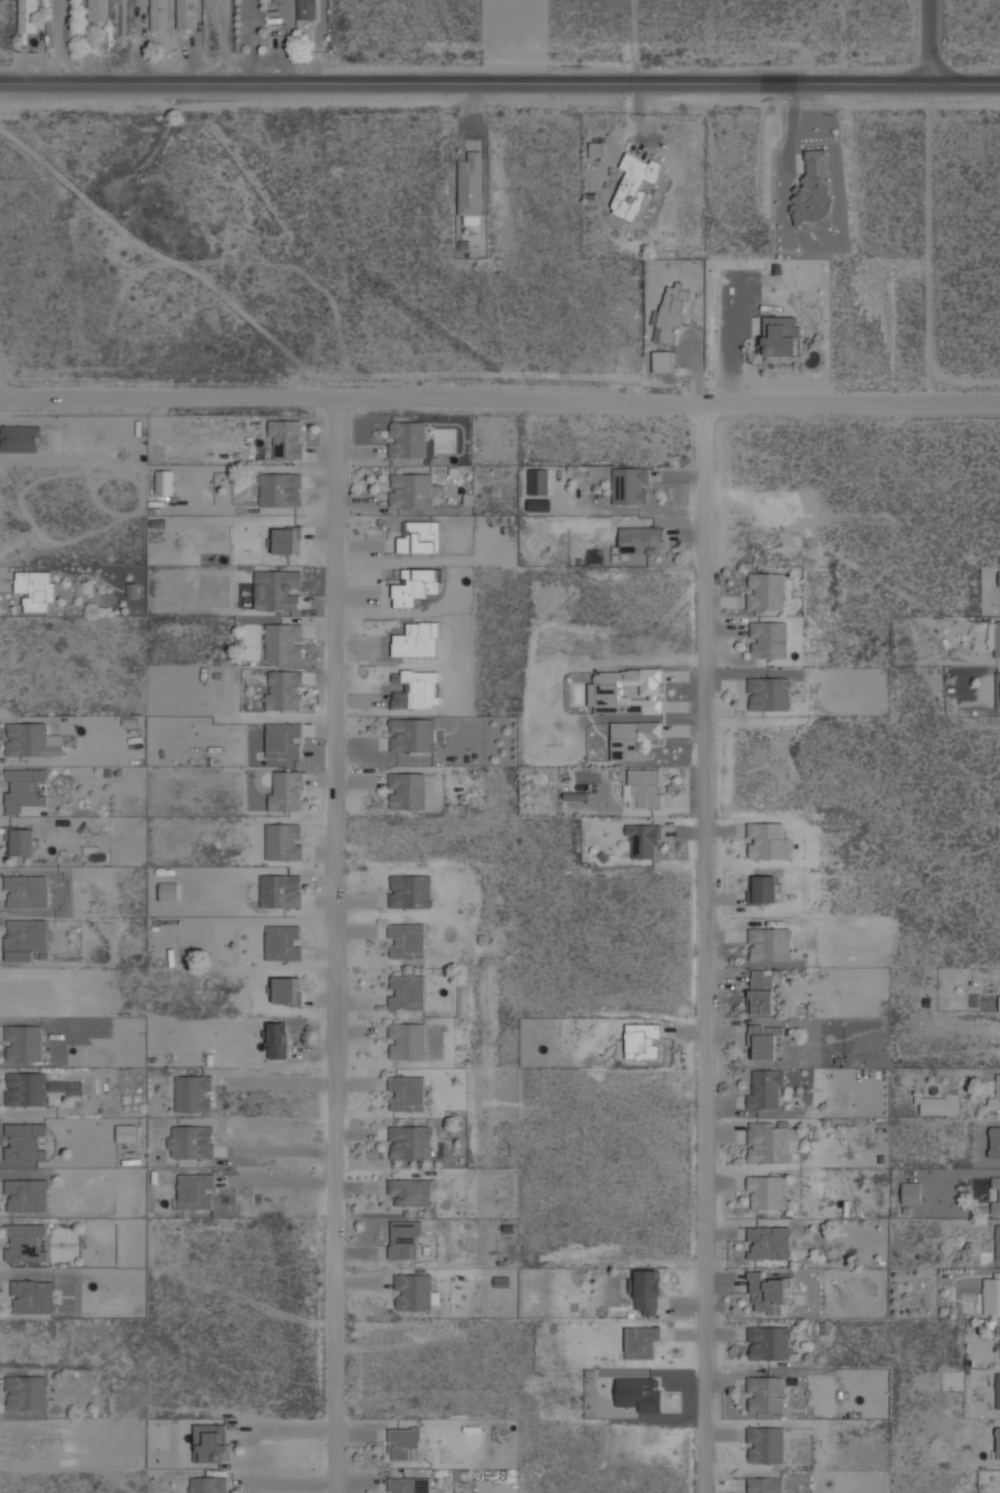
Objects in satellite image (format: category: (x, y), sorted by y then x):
building: (307, 9)
building: (96, 10)
building: (160, 14)
building: (186, 14)
building: (28, 16)
road: (59, 41)
road: (929, 42)
road: (499, 83)
building: (597, 149)
building: (634, 184)
building: (471, 187)
building: (813, 188)
road: (930, 242)
building: (464, 244)
building: (672, 312)
building: (780, 335)
building: (663, 360)
road: (500, 400)
building: (286, 439)
building: (407, 439)
building: (164, 482)
building: (630, 484)
building: (281, 488)
building: (412, 488)
building: (468, 498)
building: (420, 536)
building: (287, 539)
building: (640, 539)
building: (999, 578)
building: (416, 585)
building: (35, 588)
building: (278, 589)
building: (766, 591)
building: (995, 638)
building: (769, 639)
building: (284, 641)
building: (284, 689)
building: (998, 689)
building: (626, 690)
building: (769, 693)
building: (414, 733)
building: (634, 738)
building: (30, 739)
building: (284, 740)
building: (292, 777)
building: (645, 787)
building: (407, 789)
building: (26, 790)
building: (644, 840)
building: (768, 840)
building: (22, 841)
building: (283, 842)
building: (765, 888)
building: (411, 890)
building: (28, 891)
building: (168, 891)
building: (280, 891)
building: (26, 938)
building: (407, 940)
building: (283, 942)
building: (770, 944)
road: (332, 946)
road: (704, 948)
building: (287, 991)
building: (764, 991)
building: (407, 992)
building: (277, 1040)
building: (407, 1040)
building: (643, 1041)
building: (24, 1042)
building: (766, 1042)
road: (274, 1081)
building: (36, 1087)
building: (766, 1089)
building: (193, 1092)
building: (407, 1092)
building: (995, 1097)
building: (933, 1105)
building: (127, 1133)
building: (23, 1140)
building: (190, 1141)
building: (411, 1141)
building: (772, 1141)
building: (994, 1142)
road: (276, 1150)
road: (276, 1180)
building: (196, 1191)
building: (411, 1191)
building: (767, 1192)
building: (911, 1192)
building: (26, 1194)
building: (996, 1195)
building: (404, 1240)
building: (24, 1242)
building: (769, 1242)
building: (997, 1243)
building: (414, 1291)
building: (647, 1292)
building: (767, 1292)
building: (991, 1295)
building: (32, 1296)
building: (999, 1331)
building: (641, 1342)
building: (770, 1342)
building: (997, 1390)
building: (26, 1393)
building: (639, 1393)
building: (766, 1395)
building: (998, 1442)
building: (211, 1443)
building: (405, 1443)
building: (766, 1444)
building: (209, 1484)
building: (766, 1484)
building: (410, 1485)

